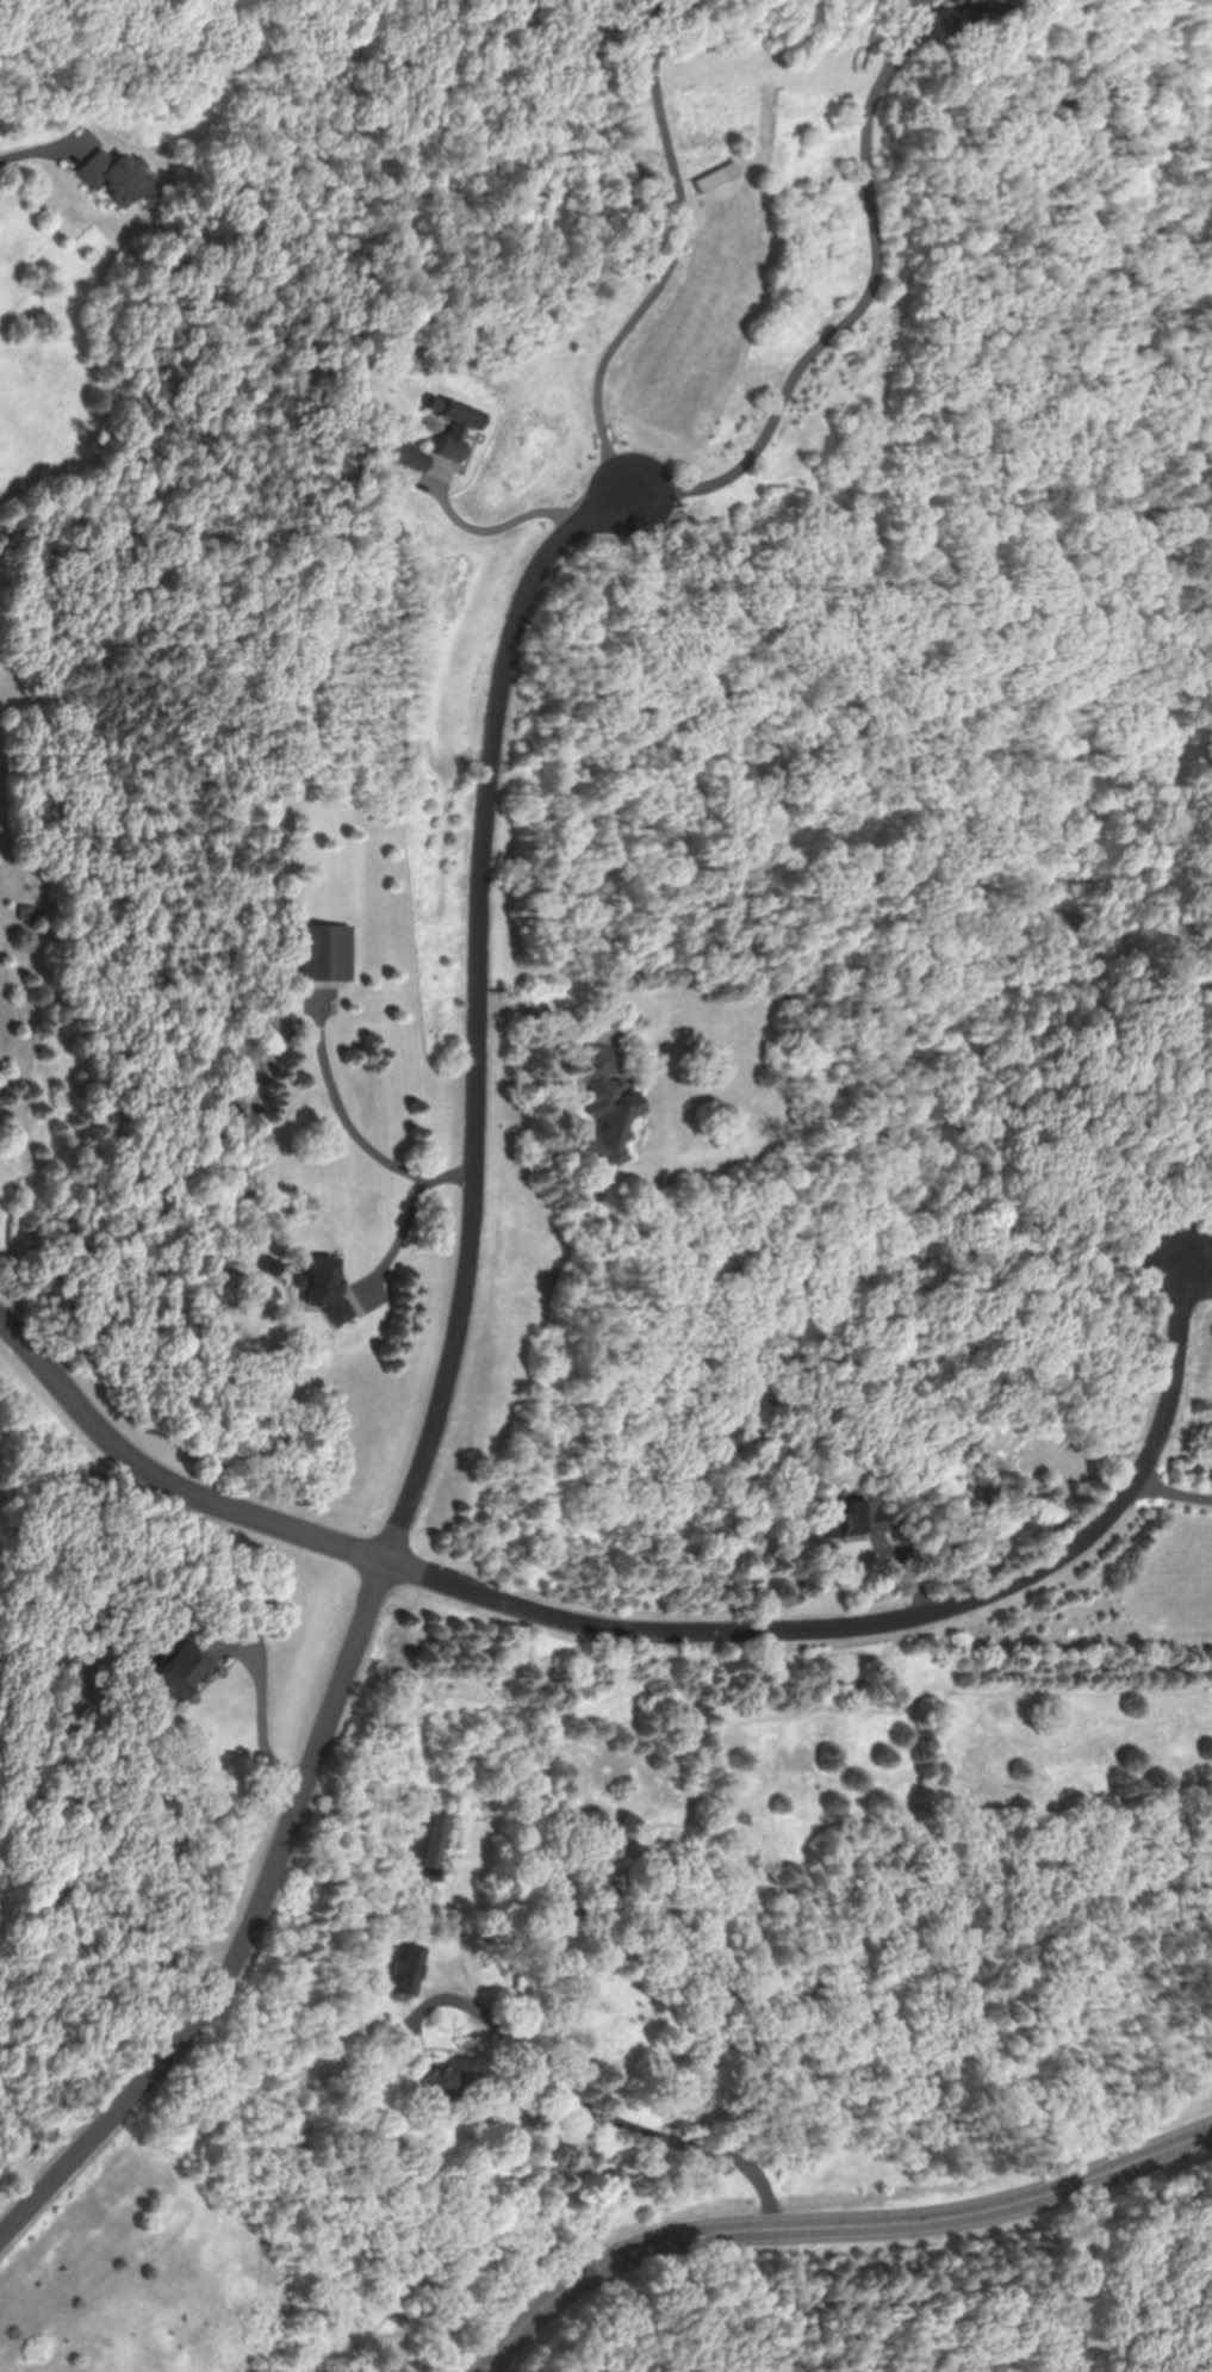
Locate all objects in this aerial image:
building: (909, 0)
building: (981, 4)
road: (46, 150)
building: (118, 179)
building: (709, 179)
road: (679, 259)
road: (858, 323)
building: (453, 425)
road: (504, 524)
building: (31, 912)
building: (602, 1103)
building: (312, 1108)
road: (354, 1117)
road: (409, 1232)
building: (321, 1286)
road: (1198, 1294)
road: (446, 1405)
road: (1168, 1497)
building: (851, 1518)
road: (658, 1633)
building: (173, 1667)
road: (266, 1722)
building: (431, 1841)
building: (566, 1907)
building: (406, 1969)
road: (641, 2125)
road: (832, 2219)

